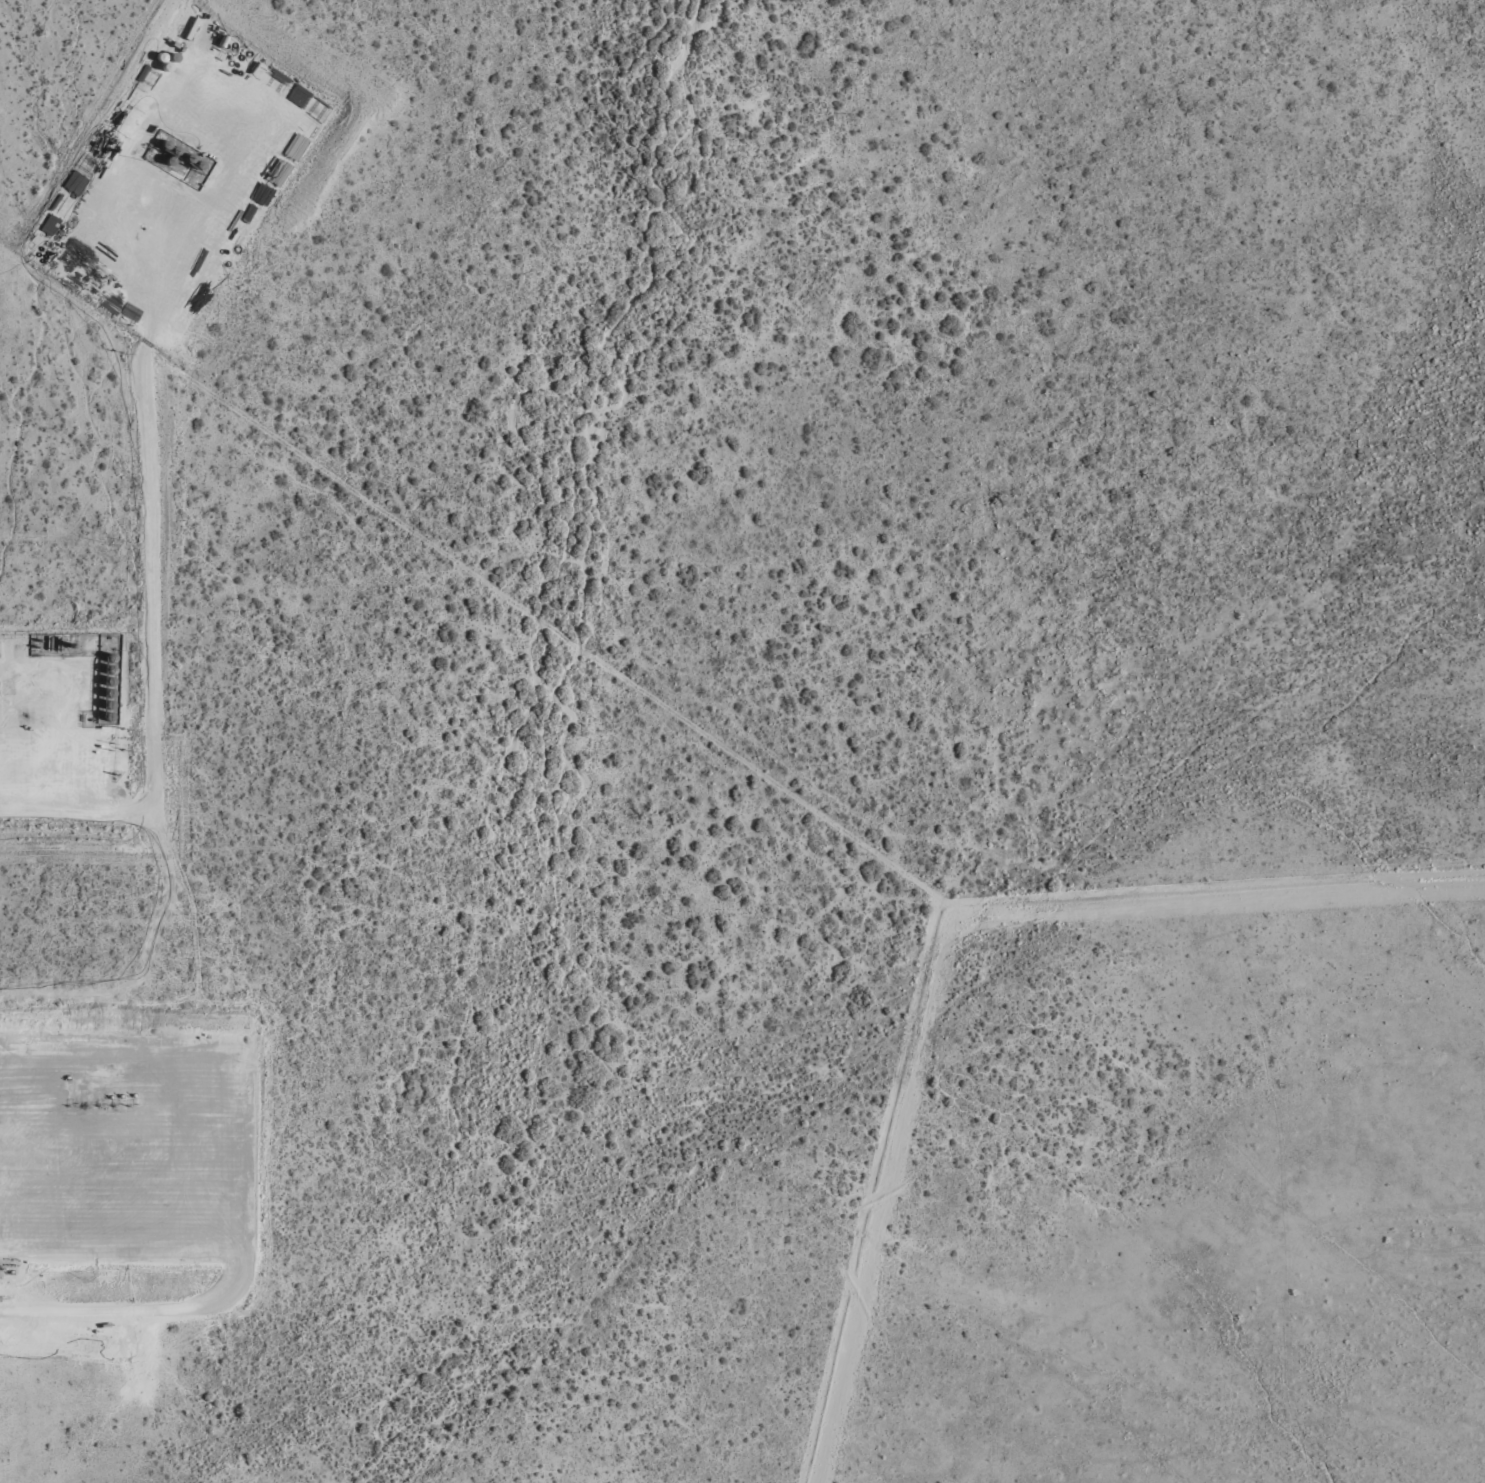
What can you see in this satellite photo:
road: (210, 214)
petroleum well: (141, 226)
road: (142, 636)
petroleum well: (25, 715)
road: (222, 1086)
petroleum well: (67, 1103)
petroleum well: (82, 1104)
petroleum well: (97, 1104)
petroleum well: (112, 1104)
petroleum well: (127, 1104)
road: (104, 1298)

